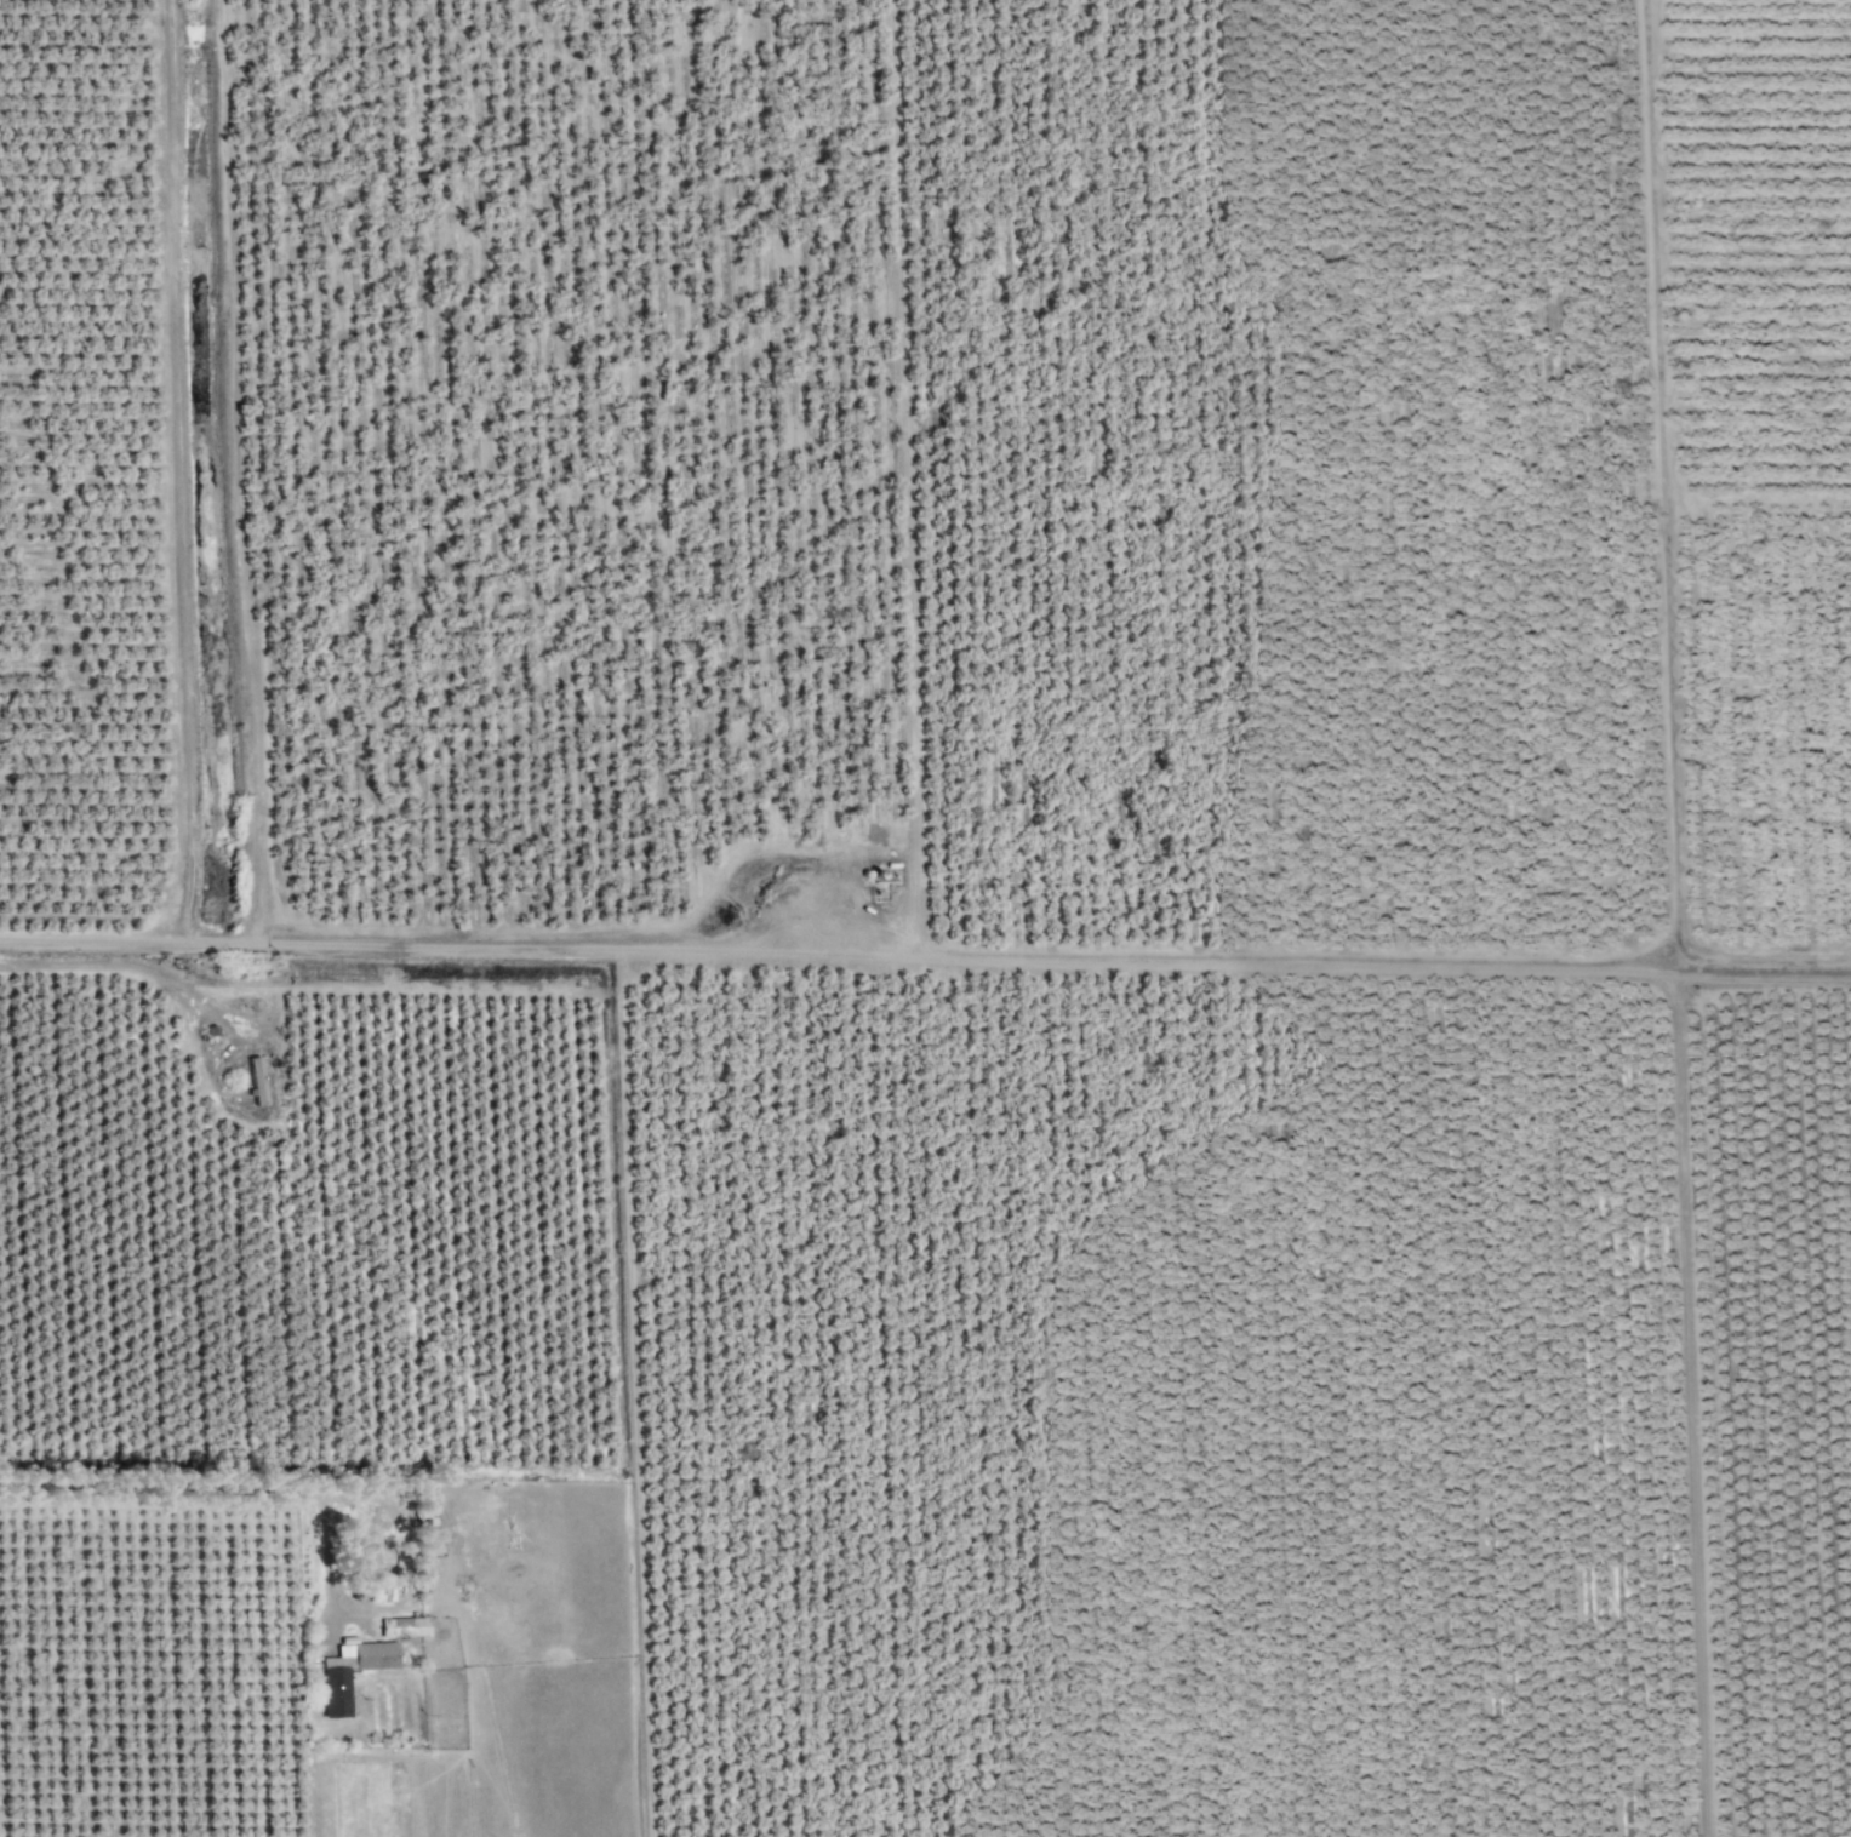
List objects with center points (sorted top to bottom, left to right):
road: (239, 940)
road: (124, 965)
building: (255, 1081)
road: (225, 1484)
building: (404, 1626)
building: (372, 1655)
building: (333, 1687)

